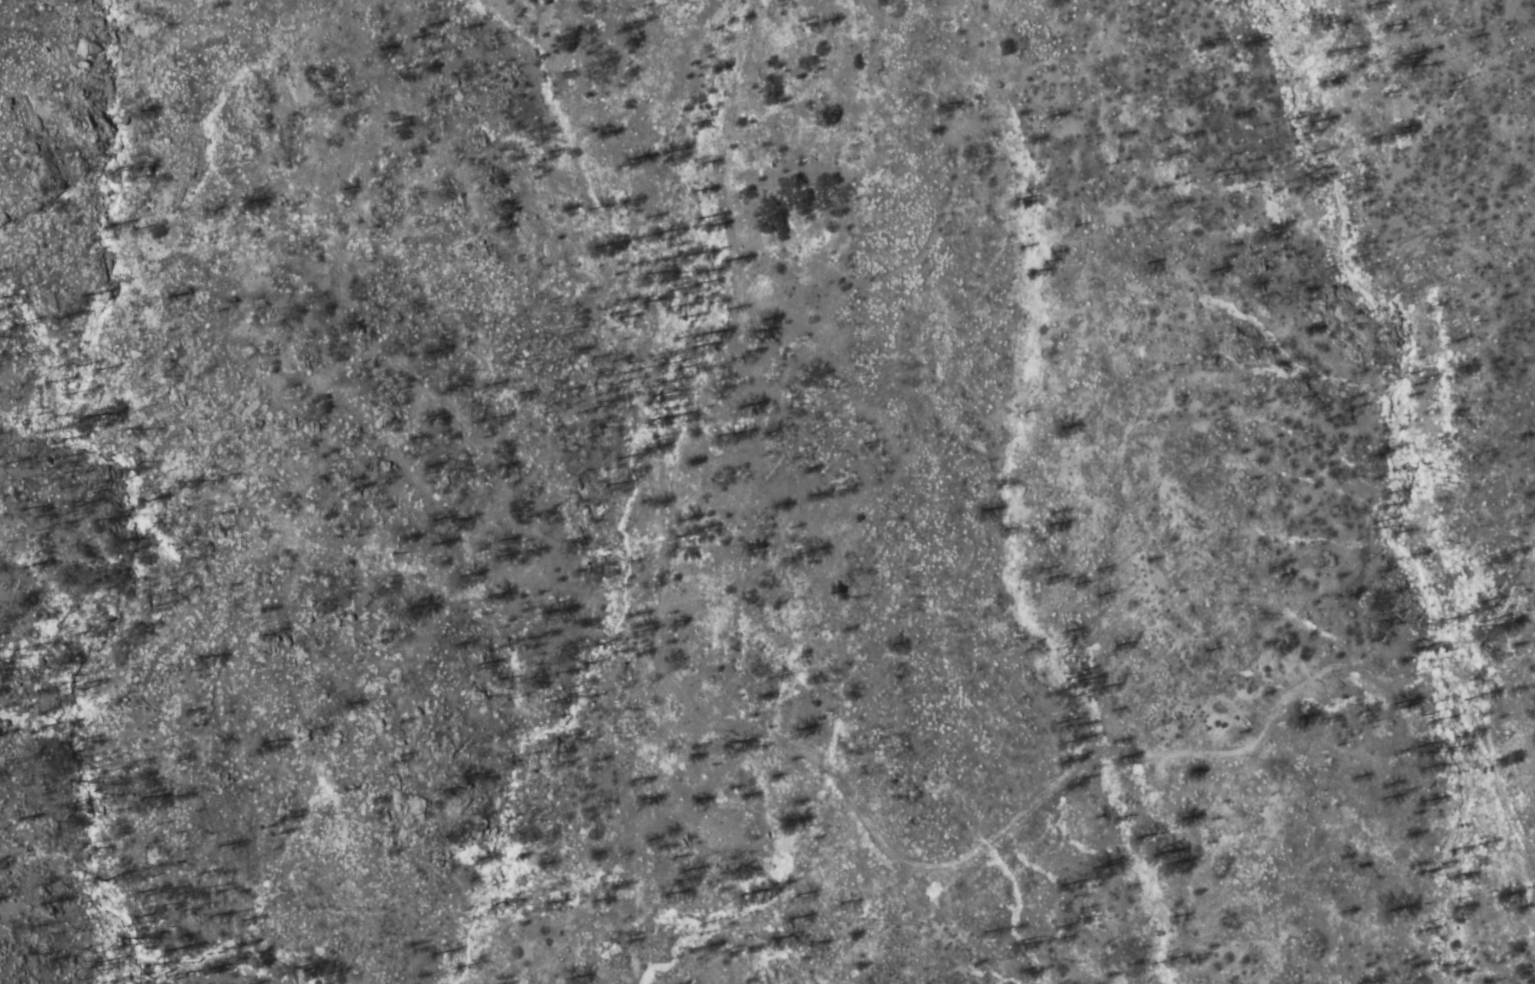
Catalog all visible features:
road: (853, 801)

